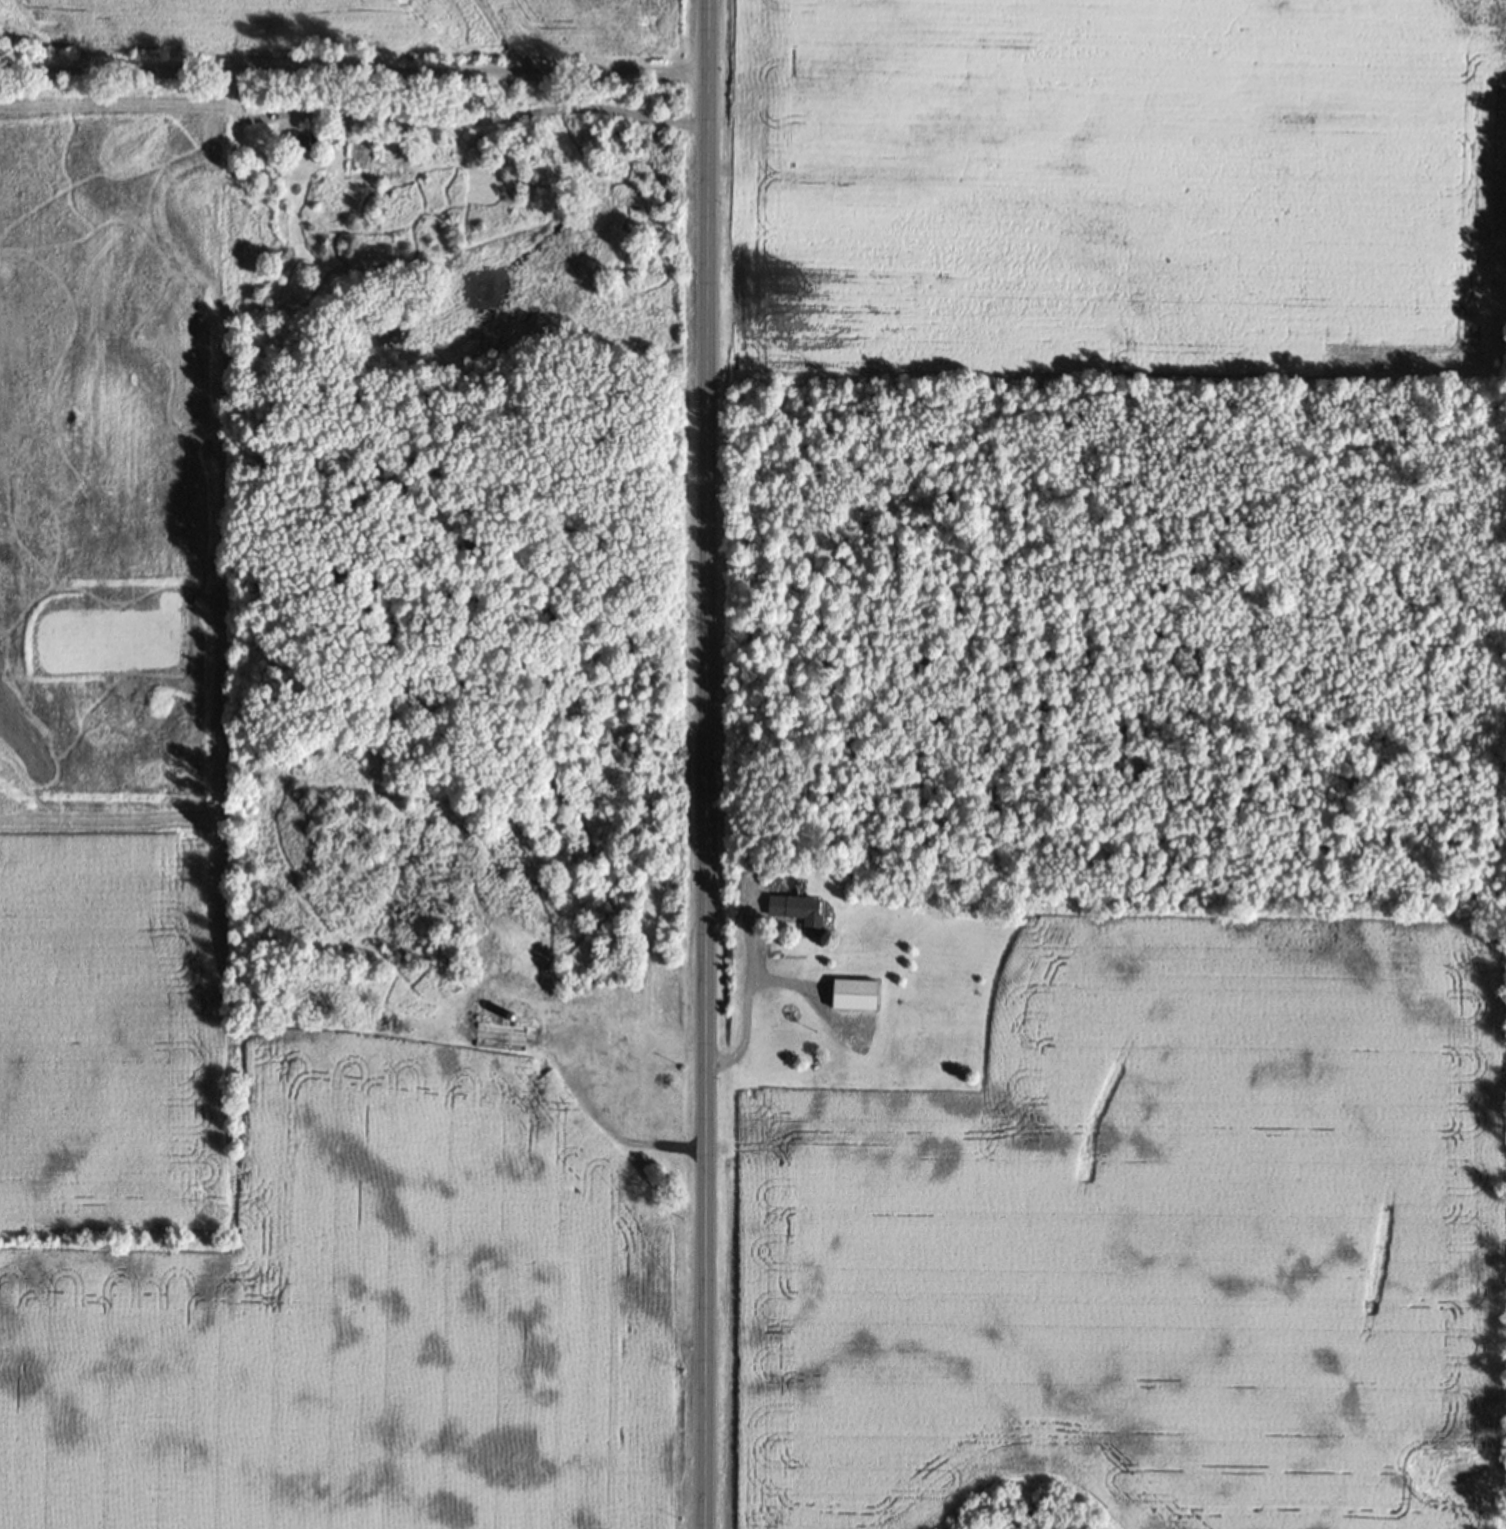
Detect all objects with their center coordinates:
road: (354, 42)
building: (308, 148)
road: (705, 764)
building: (803, 915)
road: (746, 993)
building: (861, 1000)
building: (589, 1046)
building: (541, 1088)
building: (654, 1116)

